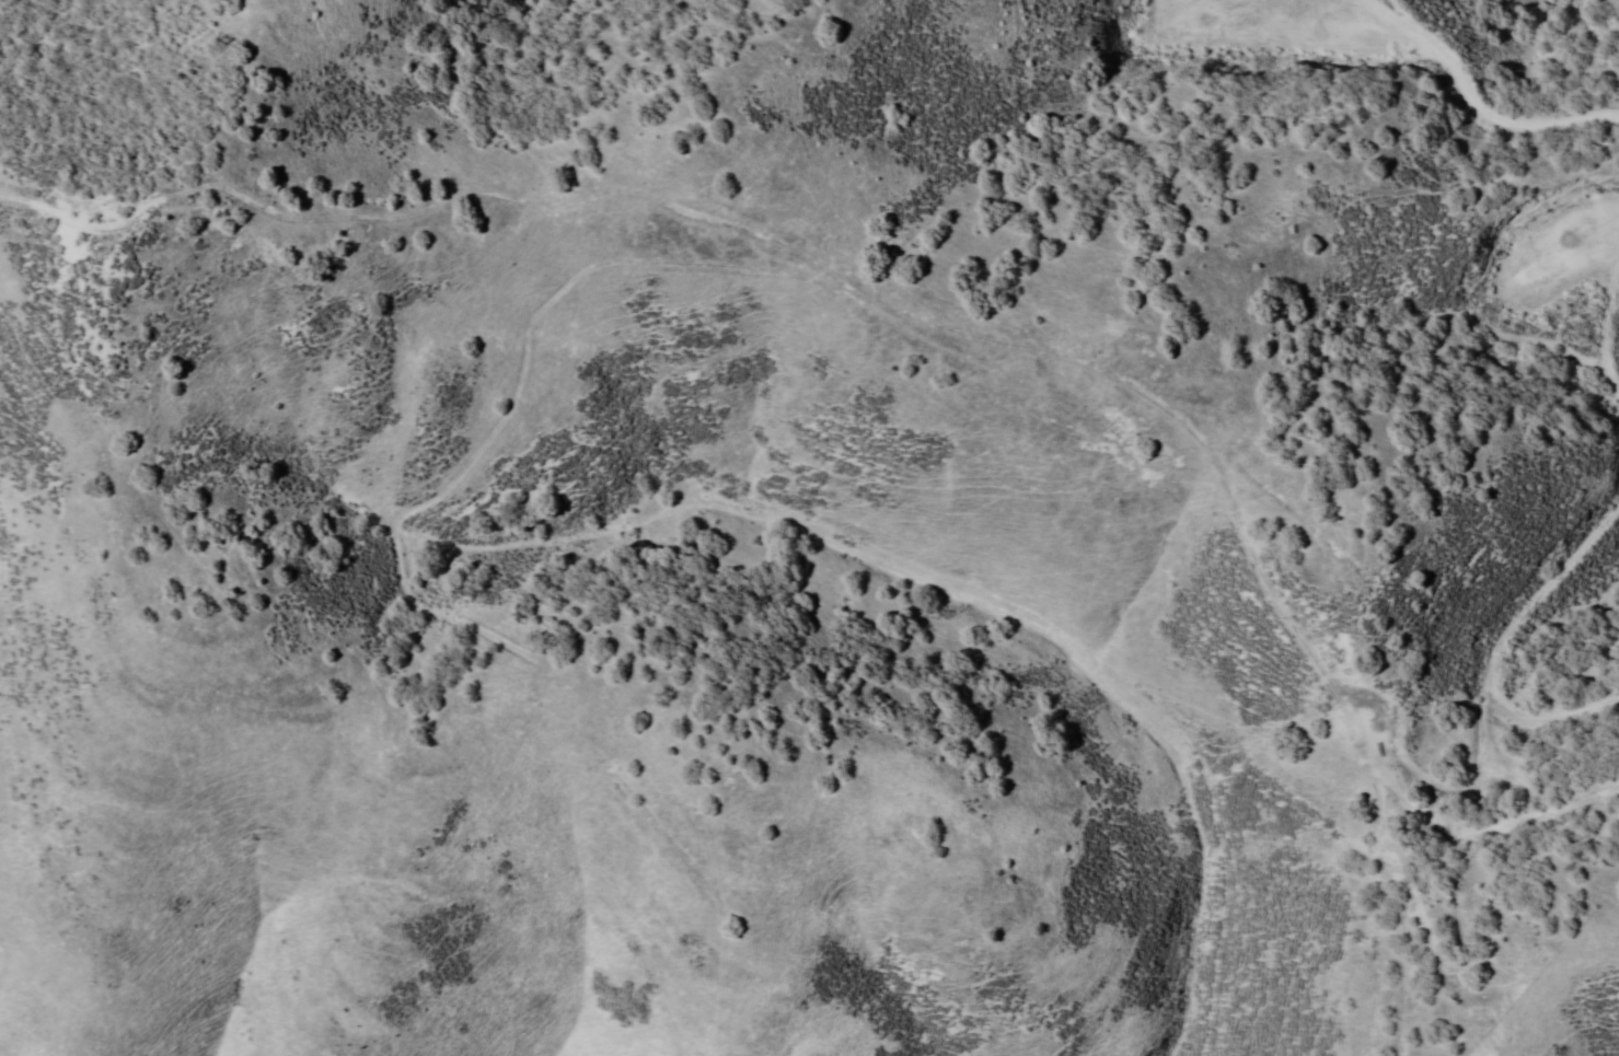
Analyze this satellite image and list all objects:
road: (1464, 317)
road: (1204, 410)

